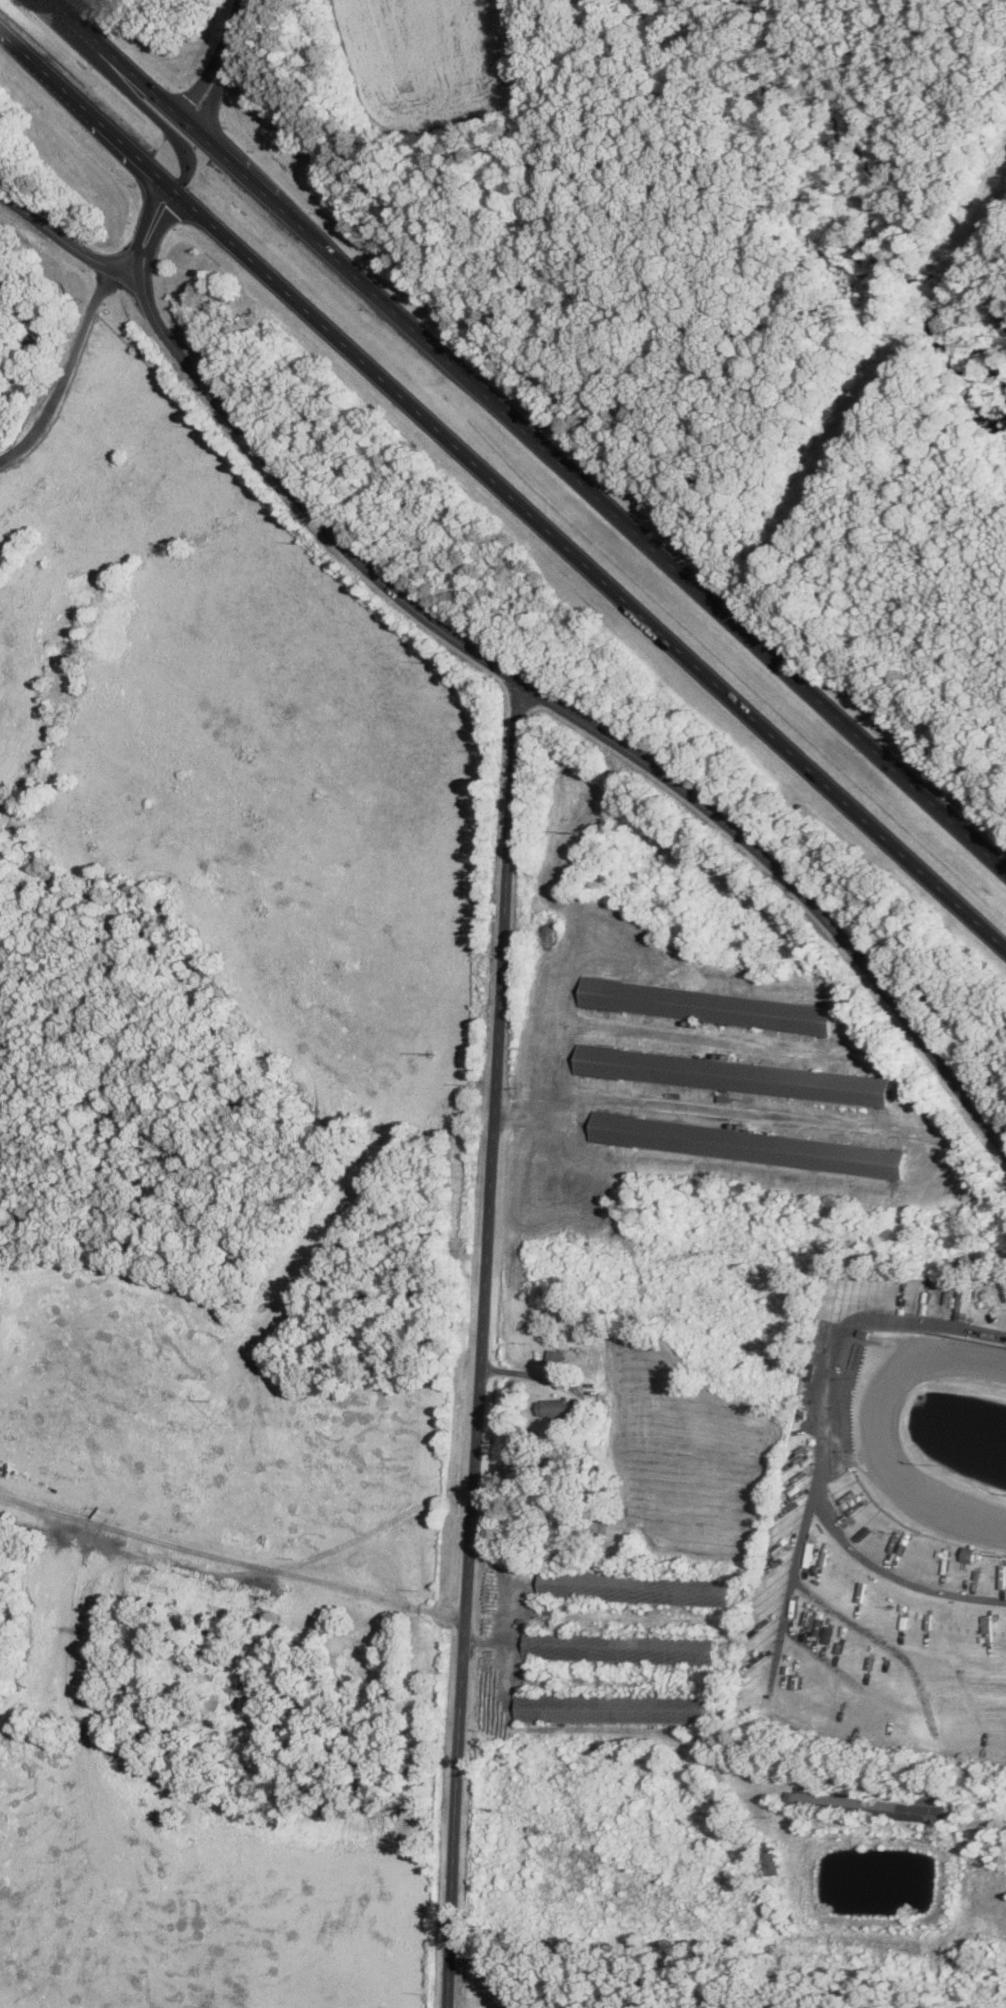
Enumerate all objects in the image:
road: (127, 61)
road: (85, 108)
road: (186, 143)
road: (62, 241)
road: (66, 377)
road: (600, 490)
road: (588, 568)
road: (572, 713)
building: (706, 1005)
building: (733, 1074)
road: (698, 1107)
building: (748, 1144)
building: (964, 1302)
road: (485, 1344)
road: (533, 1374)
building: (557, 1407)
road: (822, 1439)
road: (203, 1552)
building: (548, 1583)
road: (436, 1613)
building: (878, 1804)
building: (771, 1859)

